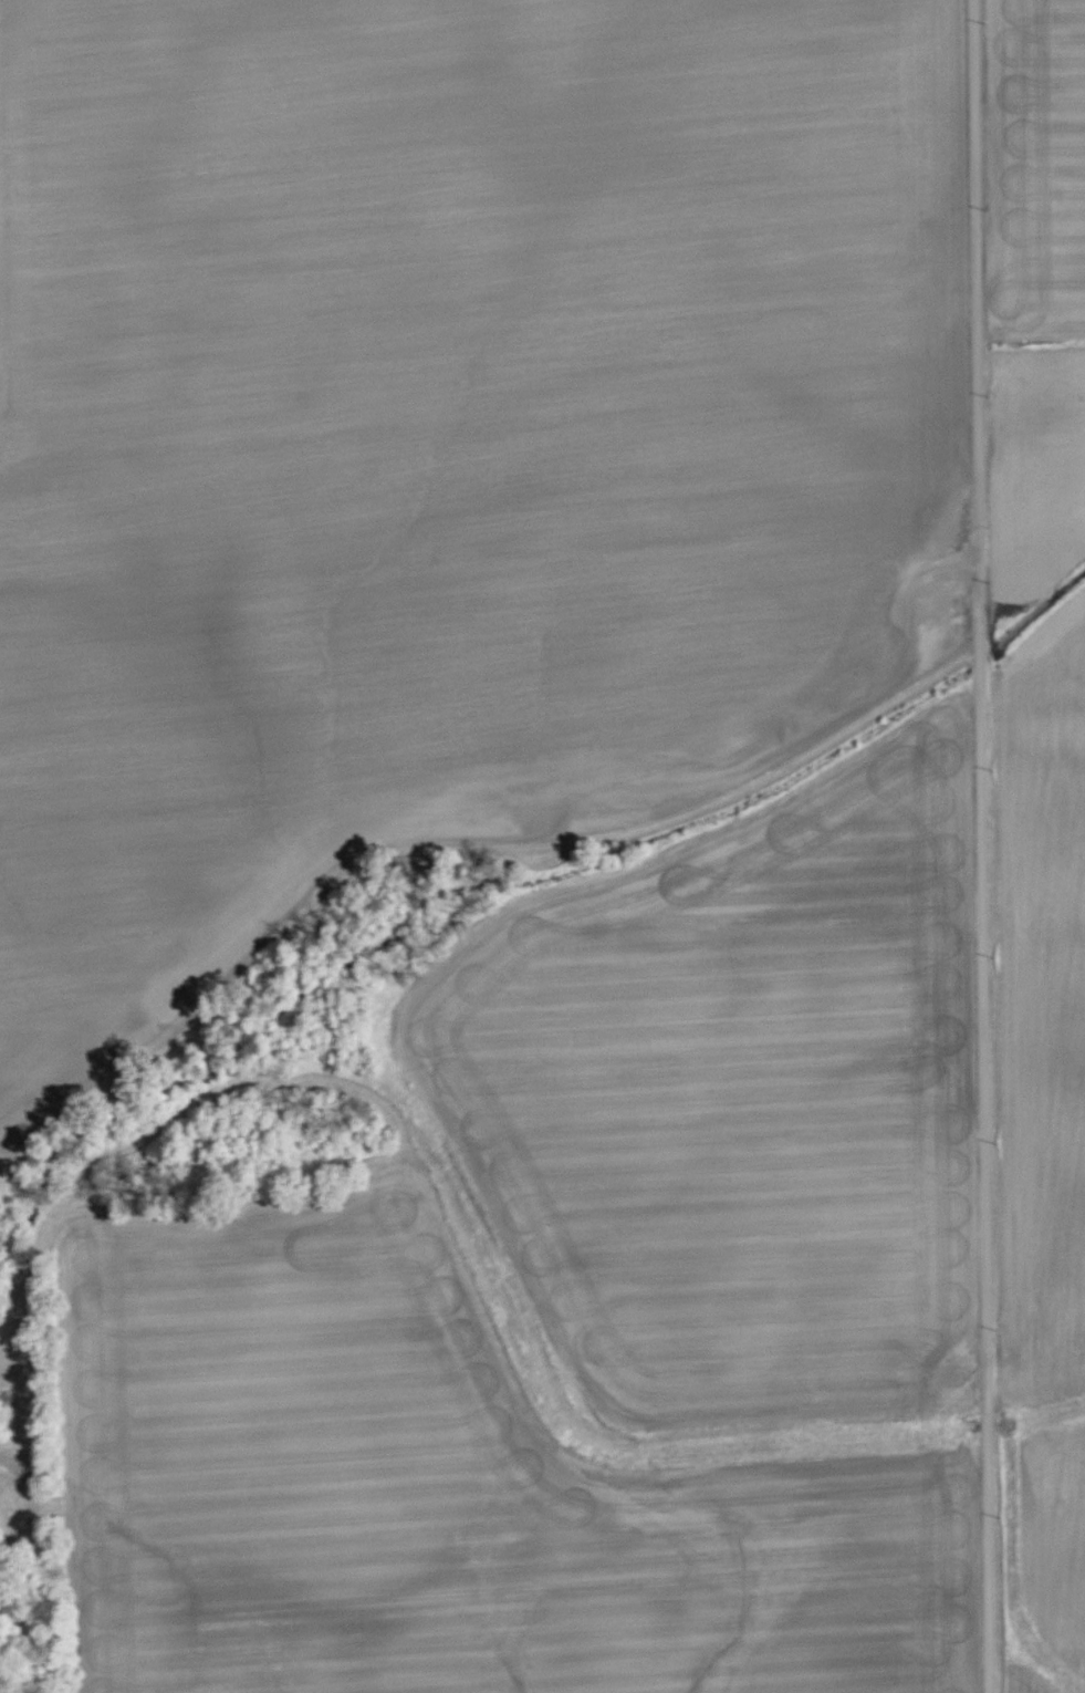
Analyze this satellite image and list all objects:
road: (985, 846)

